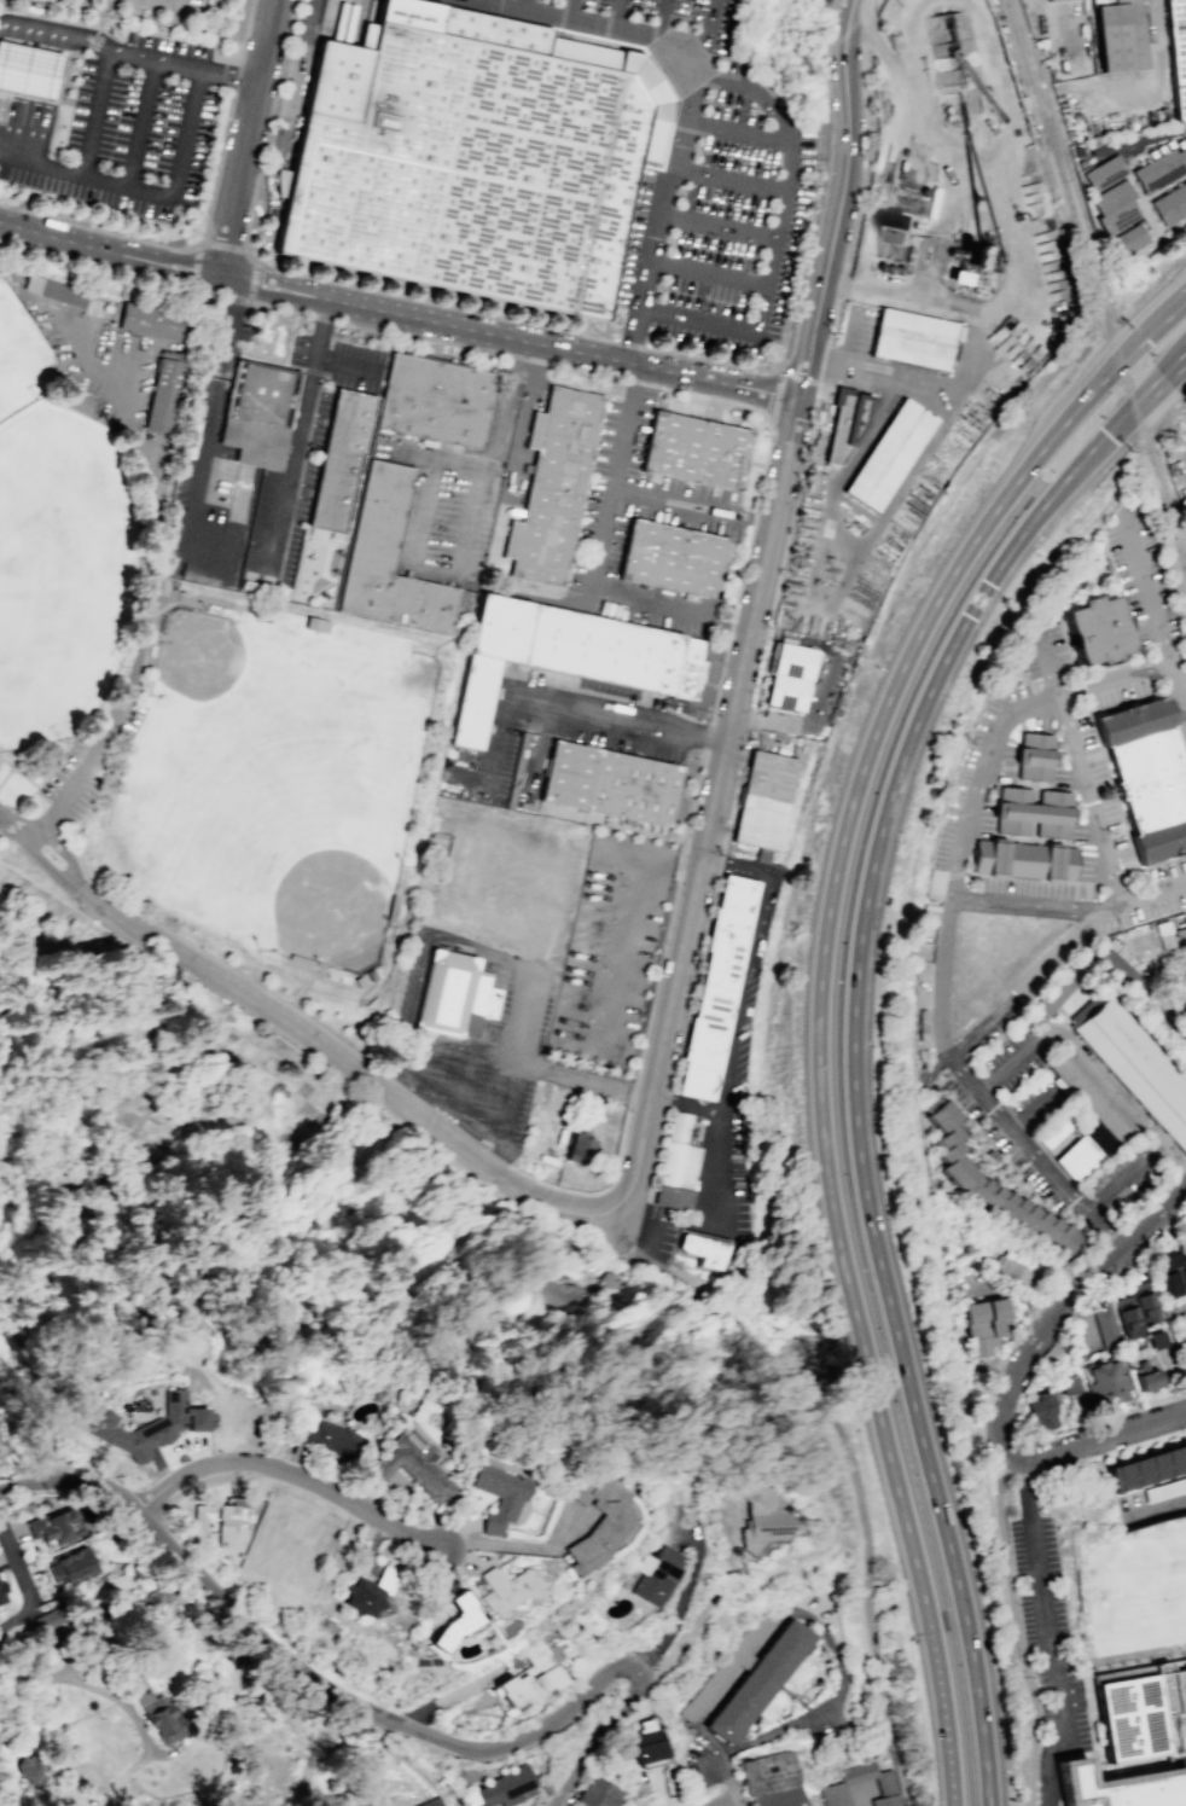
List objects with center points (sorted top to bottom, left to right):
road: (169, 1)
building: (1058, 1)
road: (487, 2)
building: (1115, 2)
road: (534, 7)
parking lot: (190, 8)
building: (31, 10)
parking lot: (408, 10)
road: (579, 12)
road: (624, 17)
road: (672, 22)
railway: (1036, 23)
road: (588, 27)
road: (39, 30)
building: (1123, 40)
building: (1178, 51)
building: (950, 52)
road: (351, 57)
building: (28, 69)
road: (203, 74)
road: (303, 76)
road: (232, 77)
road: (704, 87)
road: (24, 93)
road: (48, 99)
railway: (1045, 115)
road: (145, 124)
parking lot: (130, 132)
road: (744, 138)
road: (250, 140)
road: (1136, 143)
building: (1184, 156)
building: (478, 161)
road: (41, 163)
road: (848, 167)
building: (1164, 170)
building: (1107, 174)
building: (281, 182)
parking lot: (651, 186)
road: (739, 186)
parking lot: (713, 197)
building: (1112, 198)
building: (1174, 208)
building: (1120, 222)
road: (208, 225)
road: (721, 231)
building: (1149, 232)
road: (653, 239)
building: (1128, 239)
road: (226, 245)
road: (783, 245)
road: (94, 265)
road: (193, 266)
road: (711, 279)
road: (254, 283)
building: (56, 289)
railway: (1094, 289)
road: (1180, 302)
road: (941, 306)
building: (94, 307)
road: (364, 310)
building: (155, 319)
road: (568, 333)
road: (632, 339)
building: (914, 341)
park: (21, 361)
road: (342, 362)
road: (1185, 364)
road: (806, 366)
road: (781, 376)
road: (798, 378)
parking lot: (105, 383)
building: (164, 393)
road: (777, 393)
road: (764, 394)
road: (699, 396)
building: (72, 397)
building: (436, 401)
building: (260, 414)
building: (849, 422)
road: (207, 428)
road: (296, 435)
building: (699, 453)
road: (505, 454)
building: (889, 455)
building: (343, 460)
road: (911, 474)
building: (554, 487)
road: (149, 489)
parking lot: (662, 503)
railway: (1165, 503)
road: (691, 506)
road: (424, 512)
road: (469, 519)
road: (790, 545)
road: (594, 561)
building: (674, 561)
building: (390, 562)
park: (56, 574)
road: (504, 586)
parking lot: (162, 587)
road: (1144, 591)
building: (314, 627)
building: (1095, 629)
building: (615, 655)
building: (490, 664)
road: (1050, 668)
road: (1145, 672)
park: (196, 676)
building: (791, 680)
road: (1043, 704)
road: (618, 719)
road: (496, 747)
building: (1034, 756)
parking lot: (1093, 757)
parking lot: (89, 763)
road: (91, 767)
road: (4, 773)
road: (18, 776)
building: (1146, 776)
road: (46, 777)
park: (275, 785)
building: (612, 785)
building: (992, 789)
building: (768, 803)
road: (713, 812)
building: (1033, 812)
road: (6, 819)
road: (25, 856)
road: (65, 856)
building: (1023, 859)
road: (680, 867)
road: (51, 871)
building: (973, 878)
building: (934, 883)
road: (1151, 896)
road: (1093, 907)
road: (629, 928)
building: (1185, 929)
building: (1163, 934)
building: (1182, 942)
road: (824, 948)
parking lot: (610, 950)
building: (1115, 963)
road: (940, 976)
road: (245, 979)
road: (657, 980)
building: (365, 981)
building: (719, 988)
building: (1058, 989)
building: (1185, 992)
building: (454, 994)
road: (1168, 1004)
building: (1182, 1004)
parking lot: (1164, 1006)
road: (524, 1010)
road: (739, 1011)
road: (987, 1022)
road: (855, 1041)
parking lot: (479, 1051)
road: (1016, 1061)
road: (938, 1063)
building: (1134, 1064)
road: (351, 1065)
parking lot: (925, 1070)
road: (965, 1074)
road: (464, 1079)
road: (593, 1082)
road: (632, 1092)
building: (1086, 1093)
road: (667, 1099)
road: (1118, 1102)
road: (686, 1104)
road: (1031, 1108)
parking lot: (1006, 1113)
building: (1053, 1130)
road: (469, 1132)
road: (466, 1133)
road: (501, 1142)
road: (483, 1146)
building: (580, 1148)
road: (1031, 1149)
road: (656, 1154)
building: (681, 1157)
road: (499, 1158)
park: (203, 1168)
road: (1120, 1177)
building: (965, 1178)
road: (598, 1191)
road: (1156, 1216)
road: (638, 1219)
road: (539, 1223)
road: (1101, 1229)
building: (705, 1250)
road: (1082, 1258)
building: (1163, 1259)
building: (1010, 1273)
building: (1169, 1283)
building: (572, 1290)
building: (1143, 1302)
building: (1170, 1311)
building: (1127, 1316)
building: (983, 1325)
building: (1105, 1328)
road: (1033, 1337)
building: (1157, 1340)
building: (1182, 1357)
building: (1105, 1380)
building: (1147, 1380)
building: (1069, 1384)
park: (756, 1405)
building: (1042, 1410)
road: (1104, 1419)
building: (147, 1425)
building: (326, 1438)
road: (1098, 1440)
road: (1017, 1451)
road: (848, 1454)
building: (1180, 1454)
building: (1167, 1461)
building: (414, 1462)
building: (1150, 1467)
building: (1134, 1471)
road: (290, 1473)
building: (1117, 1476)
building: (1165, 1489)
building: (498, 1496)
building: (763, 1516)
building: (597, 1520)
building: (54, 1527)
building: (225, 1527)
road: (522, 1546)
road: (18, 1564)
building: (70, 1567)
building: (656, 1573)
building: (507, 1589)
park: (1132, 1593)
building: (2, 1595)
building: (158, 1595)
building: (362, 1596)
road: (681, 1599)
road: (707, 1603)
building: (47, 1620)
building: (452, 1621)
road: (23, 1628)
road: (1015, 1631)
parking lot: (1050, 1631)
road: (1045, 1636)
building: (731, 1663)
building: (528, 1677)
building: (758, 1679)
road: (731, 1684)
road: (450, 1692)
road: (795, 1697)
road: (120, 1702)
building: (1141, 1709)
road: (372, 1712)
road: (808, 1713)
building: (161, 1718)
road: (946, 1719)
parking lot: (824, 1723)
road: (384, 1727)
street lamp: (390, 1740)
building: (647, 1742)
parking lot: (1185, 1755)
road: (366, 1758)
parking lot: (703, 1764)
building: (30, 1767)
building: (771, 1779)
road: (952, 1782)
building: (883, 1783)
building: (504, 1785)
building: (1122, 1788)
building: (598, 1793)
building: (833, 1794)
road: (857, 1799)
building: (430, 1802)
road: (732, 1804)
building: (891, 1805)

